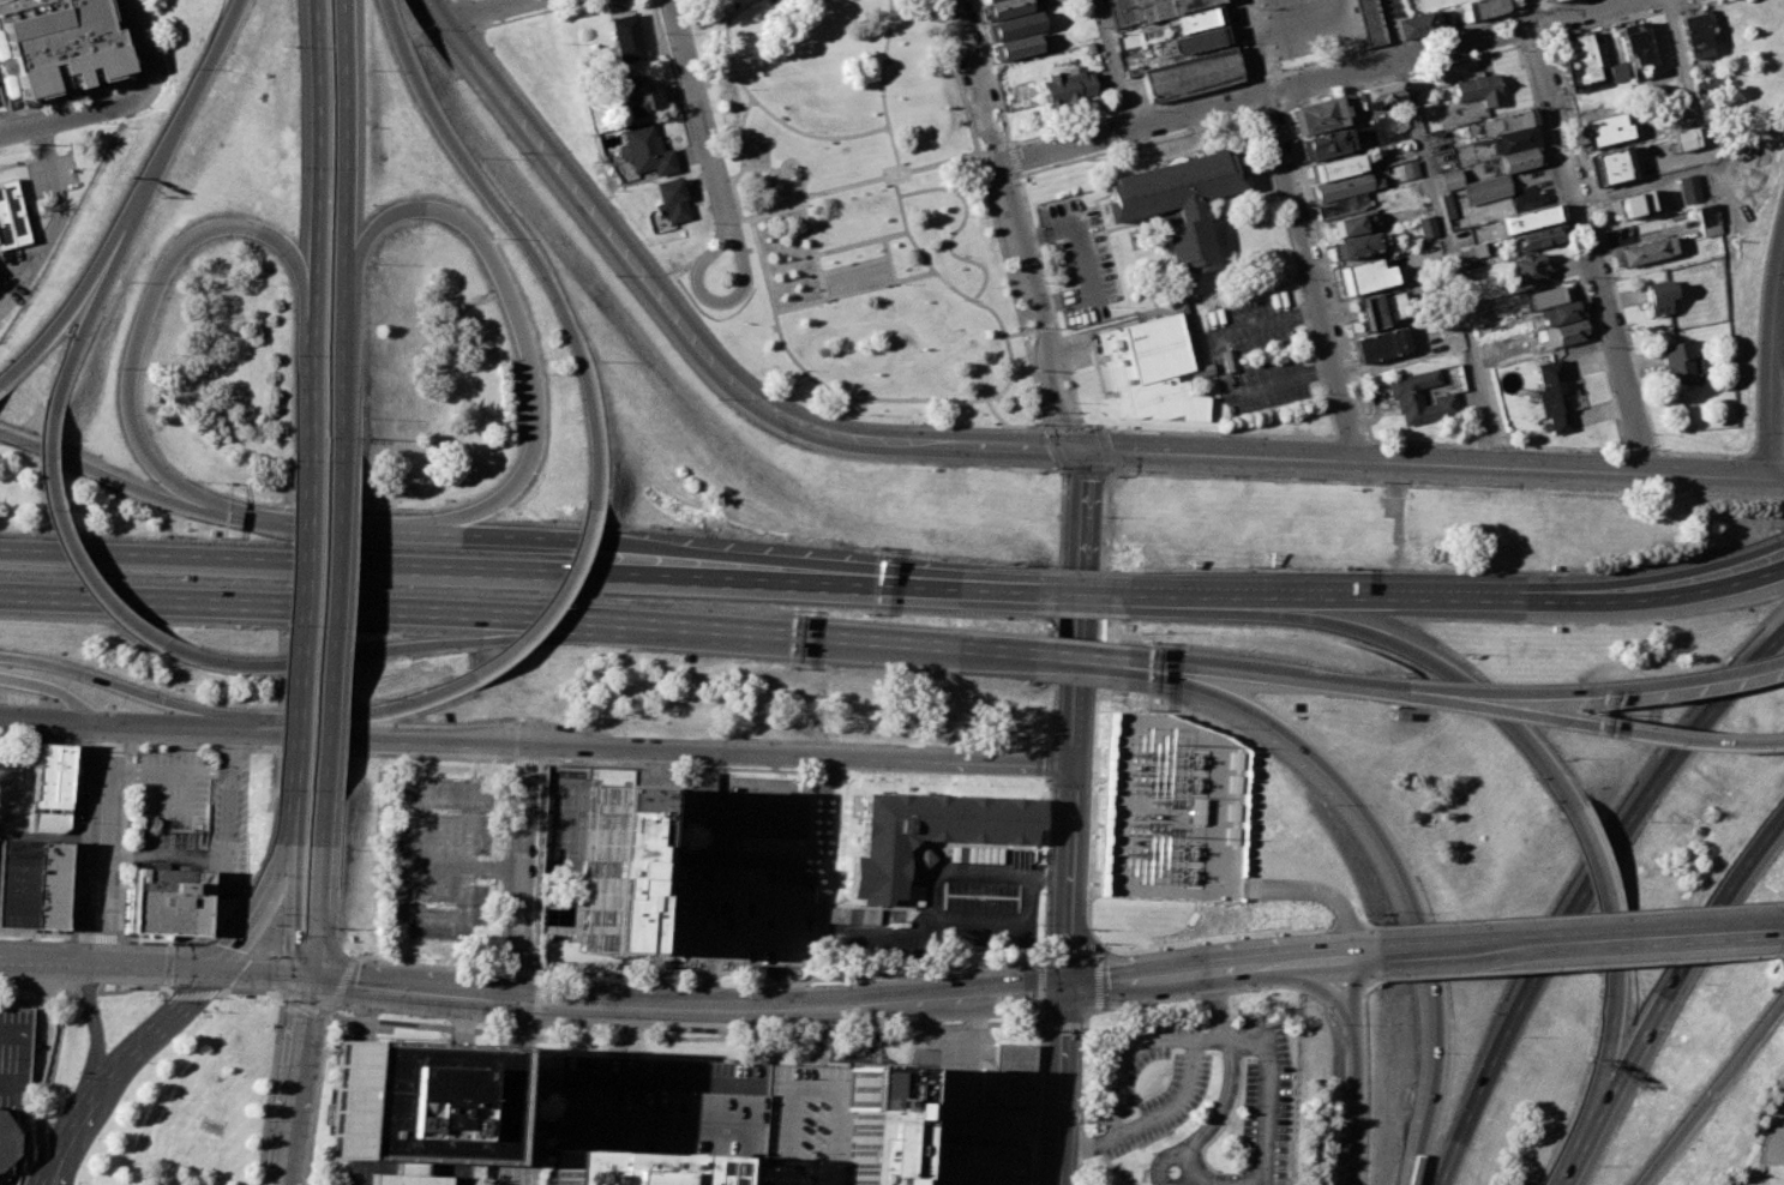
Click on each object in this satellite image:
building: (980, 0)
building: (1546, 0)
road: (10, 2)
road: (1542, 4)
building: (1166, 7)
building: (1483, 7)
building: (1003, 8)
road: (1510, 8)
road: (481, 11)
building: (1122, 13)
road: (1617, 18)
building: (1195, 19)
road: (1545, 20)
building: (1369, 22)
building: (1412, 24)
building: (1013, 25)
parking lot: (1308, 25)
road: (1303, 26)
road: (1388, 29)
road: (1516, 29)
building: (1693, 32)
building: (624, 37)
building: (1197, 40)
road: (1265, 40)
road: (1533, 41)
road: (143, 42)
road: (1233, 43)
building: (60, 46)
street lamp: (281, 46)
building: (1016, 46)
building: (1636, 48)
building: (1578, 62)
road: (1112, 65)
street lamp: (366, 68)
building: (1618, 71)
road: (953, 72)
road: (1287, 72)
road: (1686, 72)
building: (1188, 73)
road: (989, 74)
road: (1399, 76)
road: (672, 80)
road: (1310, 82)
road: (142, 83)
building: (1065, 84)
road: (107, 88)
building: (1708, 88)
building: (1478, 89)
road: (1278, 90)
building: (1377, 95)
building: (631, 97)
road: (1248, 98)
parking lot: (0, 102)
road: (695, 103)
road: (1265, 109)
road: (182, 110)
building: (1316, 115)
road: (77, 116)
road: (775, 120)
building: (1504, 122)
building: (1684, 137)
road: (887, 138)
building: (1512, 140)
building: (1325, 144)
road: (1007, 145)
road: (995, 146)
building: (645, 150)
building: (1520, 158)
road: (1010, 160)
road: (937, 162)
road: (316, 163)
building: (1612, 164)
building: (1334, 167)
road: (741, 168)
building: (1408, 168)
road: (709, 169)
road: (1015, 173)
parking lot: (53, 175)
road: (726, 179)
building: (1449, 179)
road: (1017, 181)
building: (1341, 186)
building: (1486, 188)
road: (809, 192)
road: (798, 199)
building: (669, 200)
building: (1175, 201)
building: (1629, 204)
building: (1448, 205)
building: (1341, 206)
park: (863, 207)
road: (596, 212)
building: (10, 216)
road: (58, 217)
building: (1527, 218)
building: (1711, 221)
building: (1351, 223)
road: (1015, 225)
road: (954, 227)
building: (1425, 227)
road: (1783, 227)
road: (1783, 228)
road: (1299, 230)
building: (1542, 237)
road: (1587, 237)
road: (857, 241)
road: (1604, 241)
road: (523, 243)
road: (344, 245)
road: (1572, 245)
building: (1352, 246)
building: (1645, 252)
building: (1467, 253)
road: (884, 258)
road: (1083, 259)
parking lot: (1077, 260)
street lamp: (364, 263)
road: (849, 264)
road: (1450, 264)
road: (929, 267)
building: (1531, 269)
road: (1325, 270)
park: (852, 272)
parking lot: (14, 273)
building: (1362, 276)
park: (853, 281)
road: (1008, 282)
road: (1772, 294)
road: (821, 295)
building: (1545, 296)
building: (1660, 297)
road: (717, 301)
road: (150, 302)
road: (797, 305)
road: (68, 307)
road: (1758, 307)
building: (1375, 309)
road: (89, 314)
building: (1560, 314)
road: (1044, 326)
building: (1568, 331)
building: (1378, 344)
building: (1490, 349)
street lamp: (289, 354)
road: (528, 354)
parking lot: (1255, 355)
road: (1008, 357)
building: (1680, 361)
road: (1220, 363)
road: (1316, 368)
building: (1149, 369)
road: (1776, 374)
road: (810, 377)
building: (1554, 395)
building: (1417, 397)
road: (304, 409)
street lamp: (356, 410)
road: (992, 413)
road: (1766, 421)
road: (1025, 425)
road: (1094, 428)
road: (1440, 441)
road: (925, 443)
road: (1749, 449)
traffic signals: (1079, 450)
road: (1364, 462)
road: (113, 479)
road: (1707, 479)
road: (1773, 481)
road: (1448, 486)
road: (1082, 507)
road: (294, 524)
road: (67, 545)
road: (659, 549)
road: (404, 569)
road: (1058, 573)
road: (1664, 576)
road: (882, 587)
road: (995, 590)
road: (1081, 592)
road: (1334, 595)
road: (1664, 596)
road: (918, 602)
road: (137, 604)
road: (553, 607)
road: (1077, 607)
road: (434, 616)
street lamp: (276, 625)
road: (1079, 627)
road: (1384, 638)
road: (811, 640)
road: (328, 646)
road: (294, 648)
road: (377, 651)
road: (1076, 661)
road: (1098, 661)
road: (1146, 668)
road: (1274, 674)
road: (1615, 686)
road: (1412, 688)
road: (52, 690)
road: (137, 692)
road: (1412, 694)
road: (377, 711)
road: (77, 723)
road: (214, 729)
road: (1612, 730)
street lamp: (70, 741)
road: (401, 744)
road: (103, 745)
road: (238, 748)
street lamp: (126, 753)
road: (801, 753)
road: (527, 763)
road: (1052, 763)
road: (684, 765)
road: (188, 772)
building: (52, 775)
road: (722, 783)
parking lot: (169, 788)
road: (77, 800)
power substation: (1172, 811)
building: (1194, 811)
building: (719, 813)
road: (289, 820)
building: (49, 822)
street lamp: (78, 822)
park: (566, 822)
road: (424, 823)
parking lot: (227, 829)
building: (926, 832)
road: (1071, 838)
road: (100, 846)
parking lot: (166, 847)
street lamp: (340, 849)
parking lot: (440, 855)
road: (779, 859)
road: (539, 867)
building: (608, 868)
road: (124, 871)
road: (1406, 873)
road: (932, 877)
road: (1602, 882)
building: (17, 883)
building: (48, 884)
road: (1278, 889)
road: (318, 892)
road: (1585, 892)
road: (1088, 898)
building: (168, 901)
road: (262, 909)
parking lot: (942, 909)
street lamp: (276, 913)
road: (289, 913)
road: (1582, 913)
road: (1346, 916)
road: (1348, 925)
street lamp: (118, 926)
road: (1005, 926)
road: (1371, 926)
street lamp: (336, 928)
road: (60, 936)
road: (680, 937)
road: (1215, 939)
street lamp: (56, 940)
road: (1584, 943)
road: (347, 950)
road: (1094, 950)
road: (1688, 950)
road: (1777, 954)
street lamp: (270, 956)
road: (1369, 957)
road: (1314, 963)
road: (1576, 963)
road: (523, 967)
road: (108, 968)
road: (1243, 969)
road: (649, 973)
road: (878, 973)
traffic signals: (217, 974)
road: (707, 974)
road: (265, 976)
traffic signals: (314, 980)
road: (1137, 981)
road: (1376, 981)
road: (1275, 985)
road: (341, 986)
street lamp: (121, 987)
road: (133, 987)
road: (1321, 987)
traffic signals: (1063, 988)
road: (1345, 989)
road: (88, 992)
road: (1356, 992)
road: (190, 994)
road: (418, 994)
road: (34, 999)
road: (34, 999)
road: (537, 1001)
road: (1151, 1001)
road: (885, 1004)
road: (810, 1005)
road: (305, 1006)
road: (583, 1006)
road: (1217, 1006)
road: (41, 1007)
road: (675, 1011)
street lamp: (204, 1012)
street lamp: (337, 1012)
road: (410, 1021)
road: (1086, 1022)
road: (1610, 1023)
road: (35, 1025)
road: (867, 1029)
road: (97, 1033)
road: (152, 1035)
road: (1226, 1039)
road: (1207, 1040)
building: (13, 1057)
road: (19, 1057)
road: (275, 1057)
street lamp: (0, 1058)
parking lot: (16, 1058)
road: (1123, 1059)
street lamp: (150, 1063)
building: (1008, 1073)
street lamp: (76, 1077)
road: (299, 1082)
road: (50, 1083)
road: (1058, 1085)
road: (811, 1087)
road: (1711, 1088)
road: (1269, 1093)
parking lot: (974, 1094)
road: (16, 1096)
road: (968, 1102)
park: (194, 1103)
road: (1082, 1105)
road: (1221, 1105)
road: (1358, 1106)
building: (414, 1107)
road: (529, 1108)
building: (663, 1109)
parking lot: (663, 1109)
road: (14, 1115)
road: (1149, 1118)
building: (875, 1123)
parking lot: (795, 1124)
road: (37, 1125)
parking lot: (1773, 1137)
street lamp: (100, 1138)
road: (1580, 1138)
road: (66, 1141)
road: (79, 1143)
building: (6, 1150)
road: (1173, 1156)
road: (29, 1159)
building: (961, 1163)
parking garage: (961, 1163)
building: (632, 1168)
road: (1209, 1183)

